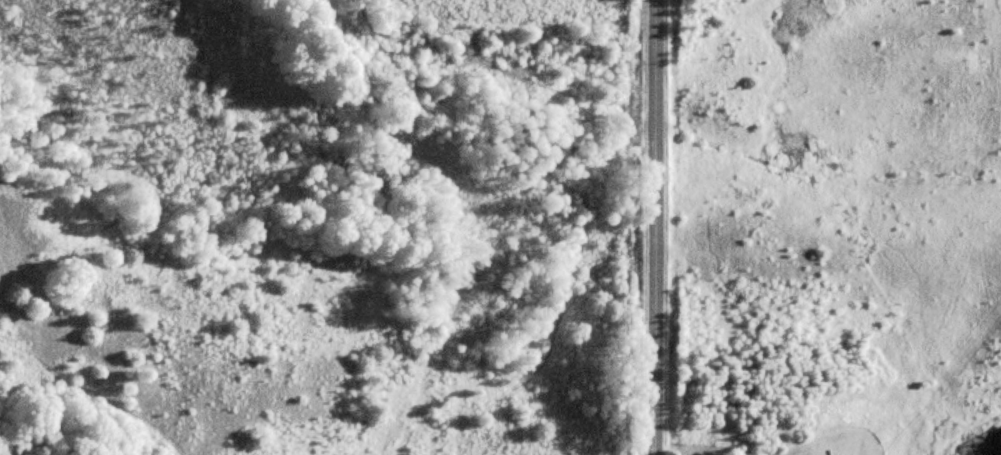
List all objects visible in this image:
road: (657, 227)

